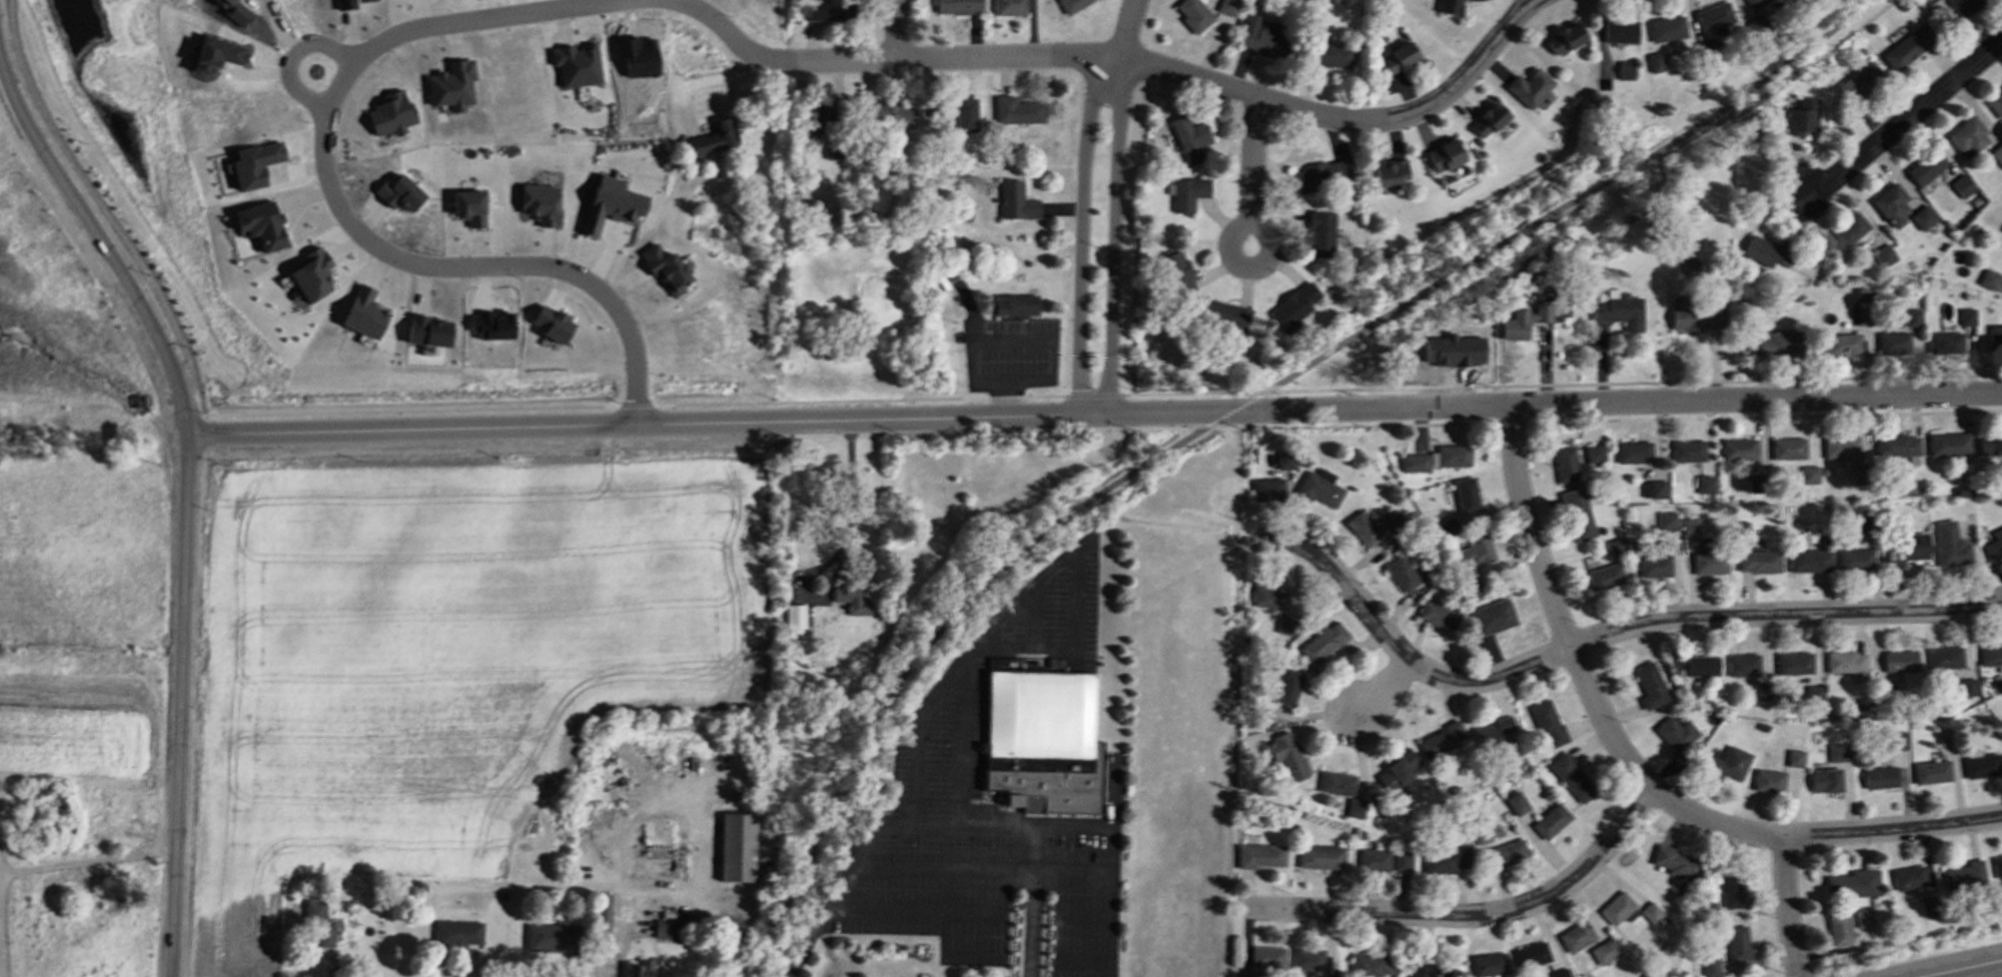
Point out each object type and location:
building: (1471, 0)
building: (1926, 1)
road: (1530, 2)
building: (1754, 3)
building: (343, 4)
building: (1071, 5)
building: (957, 6)
building: (1226, 6)
building: (1448, 6)
building: (1964, 6)
building: (1008, 7)
building: (826, 9)
building: (1192, 14)
building: (1713, 18)
road: (1127, 27)
building: (1666, 28)
road: (895, 30)
building: (1618, 31)
building: (1262, 36)
building: (1564, 38)
building: (1907, 46)
building: (215, 53)
road: (285, 54)
building: (1331, 55)
building: (1396, 58)
building: (1655, 62)
building: (575, 64)
building: (1624, 69)
road: (1179, 74)
building: (1858, 81)
building: (450, 85)
building: (1528, 87)
building: (1995, 103)
building: (1016, 110)
building: (888, 112)
building: (389, 114)
building: (965, 115)
building: (821, 116)
building: (1800, 117)
building: (1487, 119)
road: (324, 122)
road: (1902, 123)
building: (1967, 137)
building: (713, 138)
building: (1189, 138)
building: (833, 150)
building: (1997, 154)
building: (1444, 155)
building: (253, 164)
building: (1925, 167)
building: (1388, 171)
road: (1251, 173)
building: (1319, 174)
building: (1961, 185)
building: (397, 193)
building: (1187, 193)
building: (1015, 201)
building: (609, 203)
building: (538, 204)
building: (1890, 204)
building: (467, 207)
building: (1922, 217)
building: (260, 224)
building: (1849, 228)
building: (2001, 230)
road: (1080, 231)
building: (1320, 233)
road: (1115, 236)
building: (1766, 252)
building: (1883, 255)
building: (664, 268)
building: (1177, 272)
building: (310, 274)
building: (1988, 278)
building: (1012, 304)
building: (1293, 306)
building: (1618, 310)
building: (362, 313)
building: (1226, 314)
building: (1695, 314)
building: (1861, 316)
building: (1966, 316)
building: (1912, 317)
building: (1522, 321)
building: (549, 323)
park: (67, 330)
building: (426, 331)
building: (1995, 336)
road: (1035, 338)
building: (1944, 341)
building: (1776, 343)
building: (1892, 343)
building: (1842, 345)
road: (1230, 413)
road: (1093, 416)
building: (1989, 443)
building: (1948, 444)
building: (1895, 445)
building: (1840, 447)
building: (1787, 448)
building: (1738, 449)
building: (1687, 450)
building: (1633, 451)
building: (1593, 453)
building: (1449, 455)
building: (1284, 460)
building: (1413, 463)
building: (1564, 464)
building: (1808, 474)
building: (1857, 475)
building: (1704, 483)
building: (1755, 483)
building: (1319, 488)
building: (1268, 489)
building: (1653, 489)
building: (1465, 495)
road: (185, 496)
building: (1577, 514)
building: (1393, 520)
building: (1666, 520)
building: (1690, 526)
building: (1861, 526)
building: (1446, 527)
building: (1363, 528)
building: (1950, 545)
building: (1992, 545)
building: (1615, 547)
building: (1476, 549)
building: (1905, 549)
road: (841, 554)
building: (1854, 559)
building: (1808, 560)
building: (1757, 561)
building: (1709, 563)
building: (1653, 566)
building: (1400, 574)
building: (1604, 577)
building: (1269, 597)
building: (852, 599)
building: (1437, 613)
building: (1492, 616)
building: (794, 618)
building: (1284, 625)
road: (1598, 636)
building: (1323, 642)
building: (1990, 654)
building: (1944, 657)
building: (1844, 661)
building: (1899, 661)
building: (1793, 663)
building: (1742, 664)
building: (1700, 665)
building: (1649, 685)
building: (1286, 686)
building: (1966, 687)
road: (1384, 688)
building: (1762, 691)
road: (922, 718)
building: (1546, 723)
building: (1491, 731)
building: (1942, 736)
building: (1676, 737)
building: (1896, 739)
building: (1439, 740)
building: (1042, 741)
building: (1838, 752)
building: (1284, 756)
building: (1794, 758)
building: (1726, 762)
building: (1981, 764)
road: (1633, 770)
building: (1395, 771)
building: (1931, 771)
building: (1571, 777)
building: (1879, 777)
building: (1824, 780)
building: (1767, 781)
building: (1335, 782)
building: (1515, 803)
road: (680, 804)
building: (1355, 808)
building: (1550, 820)
road: (1070, 824)
building: (737, 847)
building: (1508, 852)
building: (1259, 855)
building: (1320, 856)
building: (1372, 860)
building: (1401, 860)
building: (1445, 860)
building: (1675, 862)
road: (934, 865)
building: (1997, 867)
building: (1964, 876)
building: (1908, 877)
building: (1852, 885)
building: (1732, 891)
road: (1786, 906)
building: (1928, 907)
building: (1617, 909)
building: (1650, 912)
road: (1467, 916)
building: (1863, 918)
building: (319, 922)
building: (1838, 928)
building: (664, 929)
building: (457, 932)
road: (620, 932)
building: (1575, 936)
building: (550, 937)
building: (1736, 943)
building: (1603, 951)
building: (1529, 955)
building: (1267, 957)
building: (1307, 959)
building: (1371, 963)
building: (1488, 964)
building: (1709, 966)
road: (1955, 967)
building: (640, 968)
building: (1417, 969)
building: (1445, 973)
building: (1559, 973)
building: (1245, 975)

